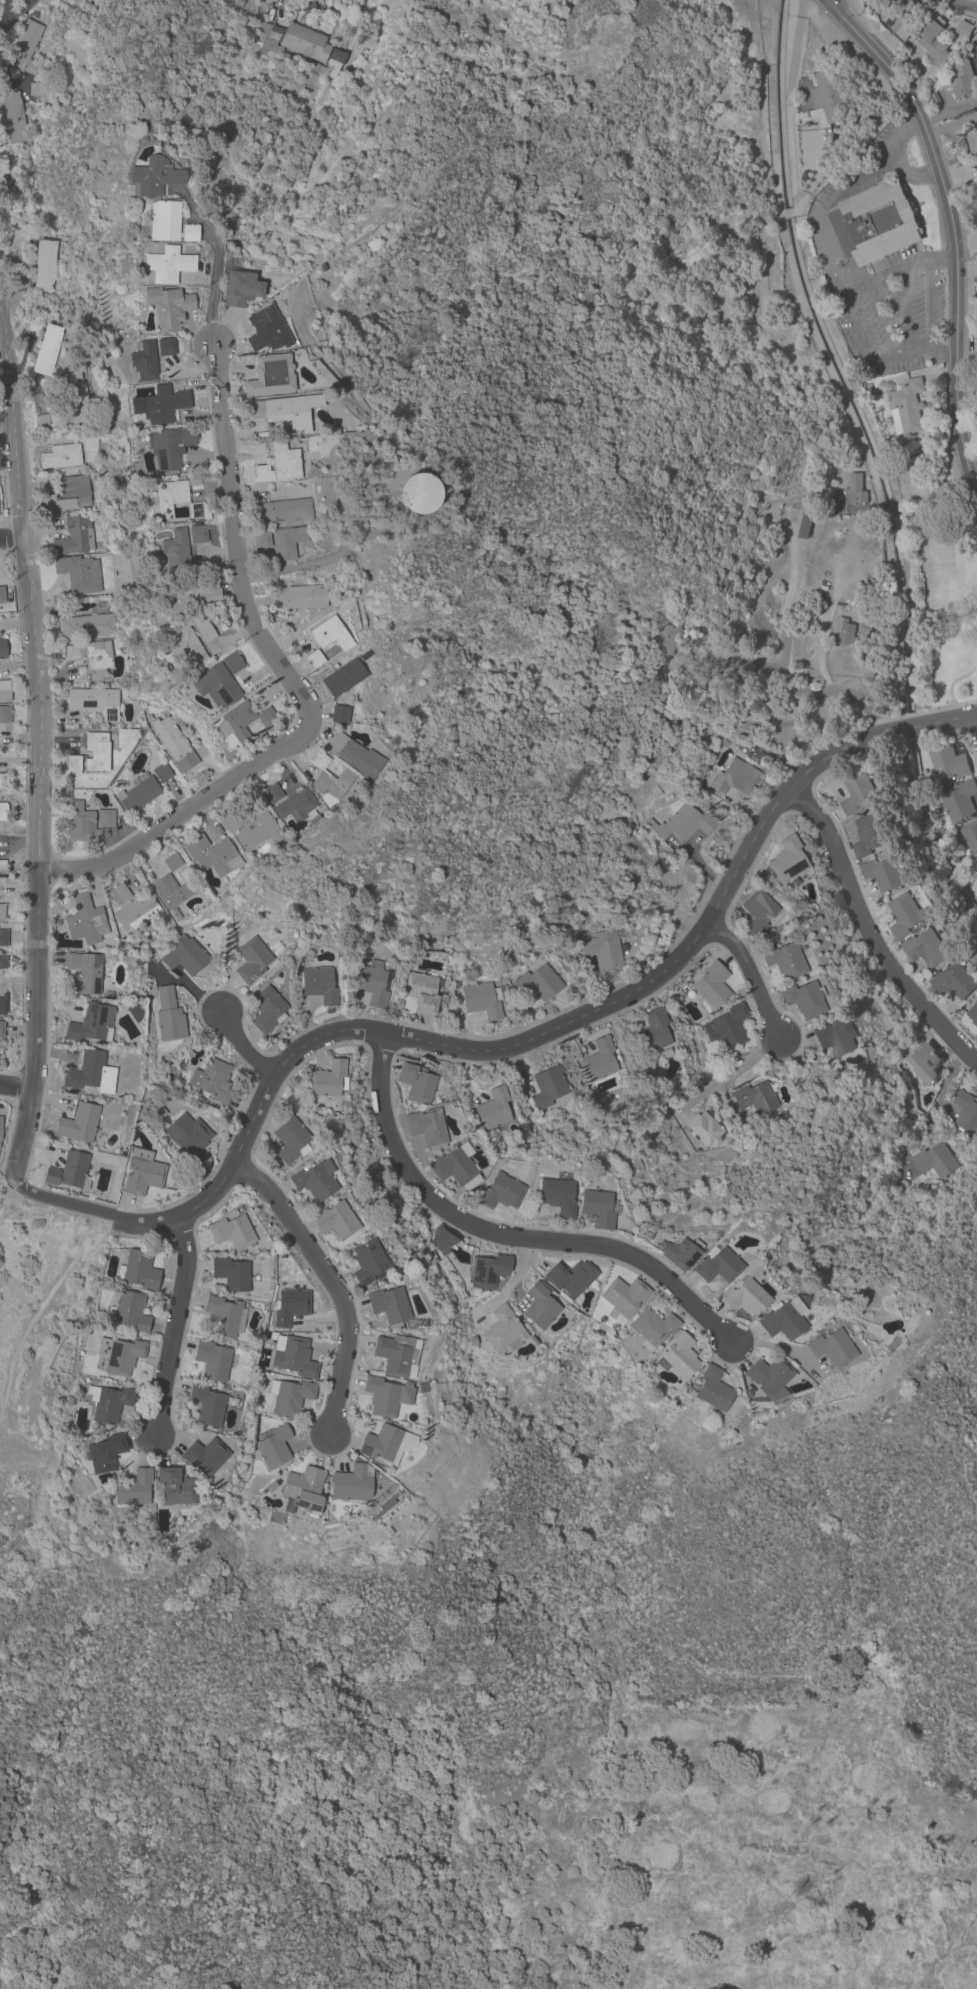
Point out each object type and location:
road: (356, 1)
road: (277, 3)
road: (960, 4)
building: (311, 8)
building: (905, 19)
building: (964, 28)
building: (294, 41)
building: (934, 42)
building: (974, 42)
building: (24, 47)
building: (336, 56)
building: (315, 67)
building: (963, 79)
building: (35, 87)
building: (829, 95)
building: (976, 100)
building: (14, 117)
building: (976, 127)
building: (971, 141)
road: (867, 163)
road: (906, 171)
building: (152, 177)
building: (2, 181)
building: (163, 221)
building: (875, 222)
road: (951, 227)
building: (189, 233)
road: (938, 259)
road: (214, 262)
road: (845, 263)
building: (44, 264)
building: (167, 264)
road: (905, 266)
parking lot: (875, 276)
building: (240, 289)
building: (20, 297)
building: (168, 306)
road: (927, 306)
road: (875, 307)
road: (905, 310)
road: (848, 314)
building: (33, 328)
building: (268, 330)
building: (166, 346)
building: (46, 350)
road: (942, 351)
building: (143, 363)
building: (271, 375)
building: (76, 397)
building: (163, 404)
building: (905, 406)
building: (280, 411)
building: (40, 420)
building: (90, 443)
building: (170, 446)
building: (59, 456)
building: (279, 464)
building: (854, 489)
storage tank: (415, 493)
road: (933, 493)
building: (68, 494)
building: (415, 494)
building: (168, 496)
road: (888, 504)
road: (870, 506)
building: (196, 510)
building: (283, 511)
building: (805, 525)
building: (197, 533)
building: (74, 535)
road: (11, 537)
building: (278, 543)
building: (175, 549)
building: (79, 573)
building: (191, 594)
building: (2, 595)
building: (298, 597)
park: (945, 601)
building: (343, 610)
building: (865, 623)
building: (87, 626)
road: (969, 626)
building: (844, 632)
building: (326, 639)
building: (668, 641)
building: (190, 645)
building: (2, 648)
building: (361, 657)
building: (92, 658)
building: (232, 662)
road: (787, 674)
building: (343, 677)
building: (692, 678)
building: (748, 679)
road: (950, 682)
road: (293, 684)
building: (216, 686)
building: (4, 690)
building: (664, 695)
building: (95, 701)
road: (943, 707)
road: (976, 712)
building: (4, 714)
building: (339, 714)
road: (976, 716)
building: (148, 718)
building: (243, 720)
building: (173, 743)
building: (200, 749)
building: (97, 751)
road: (39, 755)
building: (354, 755)
building: (762, 761)
building: (73, 762)
building: (947, 762)
building: (161, 772)
building: (734, 776)
building: (3, 781)
building: (329, 781)
building: (272, 793)
building: (858, 793)
building: (138, 794)
building: (958, 800)
building: (297, 806)
building: (3, 811)
building: (233, 819)
building: (86, 821)
building: (650, 823)
building: (684, 823)
building: (257, 832)
building: (870, 835)
building: (970, 835)
building: (213, 855)
building: (787, 859)
building: (172, 862)
building: (976, 866)
building: (2, 867)
building: (884, 872)
building: (170, 891)
building: (119, 894)
building: (135, 910)
building: (2, 911)
building: (758, 911)
building: (905, 915)
building: (85, 920)
building: (56, 923)
road: (870, 935)
building: (2, 937)
building: (275, 947)
building: (601, 948)
building: (926, 948)
building: (184, 955)
building: (251, 960)
building: (700, 960)
building: (783, 960)
building: (2, 962)
building: (85, 972)
road: (751, 974)
building: (955, 981)
building: (373, 982)
building: (538, 982)
building: (457, 984)
building: (712, 984)
building: (319, 985)
building: (421, 992)
building: (107, 994)
building: (804, 999)
building: (482, 1000)
building: (2, 1004)
building: (267, 1009)
building: (168, 1014)
building: (973, 1014)
building: (824, 1020)
building: (91, 1023)
building: (727, 1026)
building: (2, 1029)
building: (652, 1031)
building: (976, 1036)
building: (835, 1039)
road: (241, 1045)
road: (507, 1045)
building: (599, 1060)
building: (925, 1063)
building: (91, 1073)
building: (172, 1075)
road: (728, 1075)
building: (328, 1079)
building: (212, 1080)
building: (416, 1082)
road: (16, 1083)
building: (547, 1087)
building: (87, 1097)
building: (755, 1097)
building: (115, 1102)
road: (934, 1107)
building: (493, 1108)
building: (160, 1111)
building: (966, 1113)
building: (79, 1123)
building: (0, 1128)
building: (427, 1128)
building: (704, 1128)
building: (188, 1137)
building: (291, 1140)
building: (177, 1153)
building: (934, 1160)
building: (457, 1168)
building: (69, 1171)
building: (143, 1176)
building: (315, 1177)
building: (500, 1192)
building: (557, 1195)
building: (598, 1208)
building: (335, 1220)
building: (233, 1231)
road: (502, 1234)
building: (714, 1235)
building: (440, 1240)
building: (679, 1253)
building: (368, 1261)
building: (716, 1265)
building: (138, 1270)
building: (487, 1271)
building: (231, 1274)
building: (568, 1278)
road: (331, 1284)
building: (744, 1291)
building: (624, 1295)
building: (388, 1304)
building: (290, 1306)
building: (540, 1306)
building: (131, 1311)
building: (224, 1316)
building: (780, 1319)
building: (416, 1320)
road: (171, 1326)
building: (652, 1327)
building: (503, 1330)
park: (33, 1332)
building: (829, 1348)
building: (119, 1354)
building: (397, 1354)
building: (293, 1356)
building: (678, 1357)
building: (212, 1360)
building: (768, 1375)
building: (710, 1391)
building: (745, 1393)
building: (290, 1396)
building: (384, 1396)
building: (108, 1403)
building: (206, 1405)
building: (381, 1443)
building: (273, 1446)
building: (101, 1451)
building: (205, 1457)
building: (352, 1483)
building: (132, 1487)
building: (174, 1487)
building: (271, 1487)
building: (304, 1490)
building: (394, 1495)
building: (385, 1504)
building: (873, 1815)

